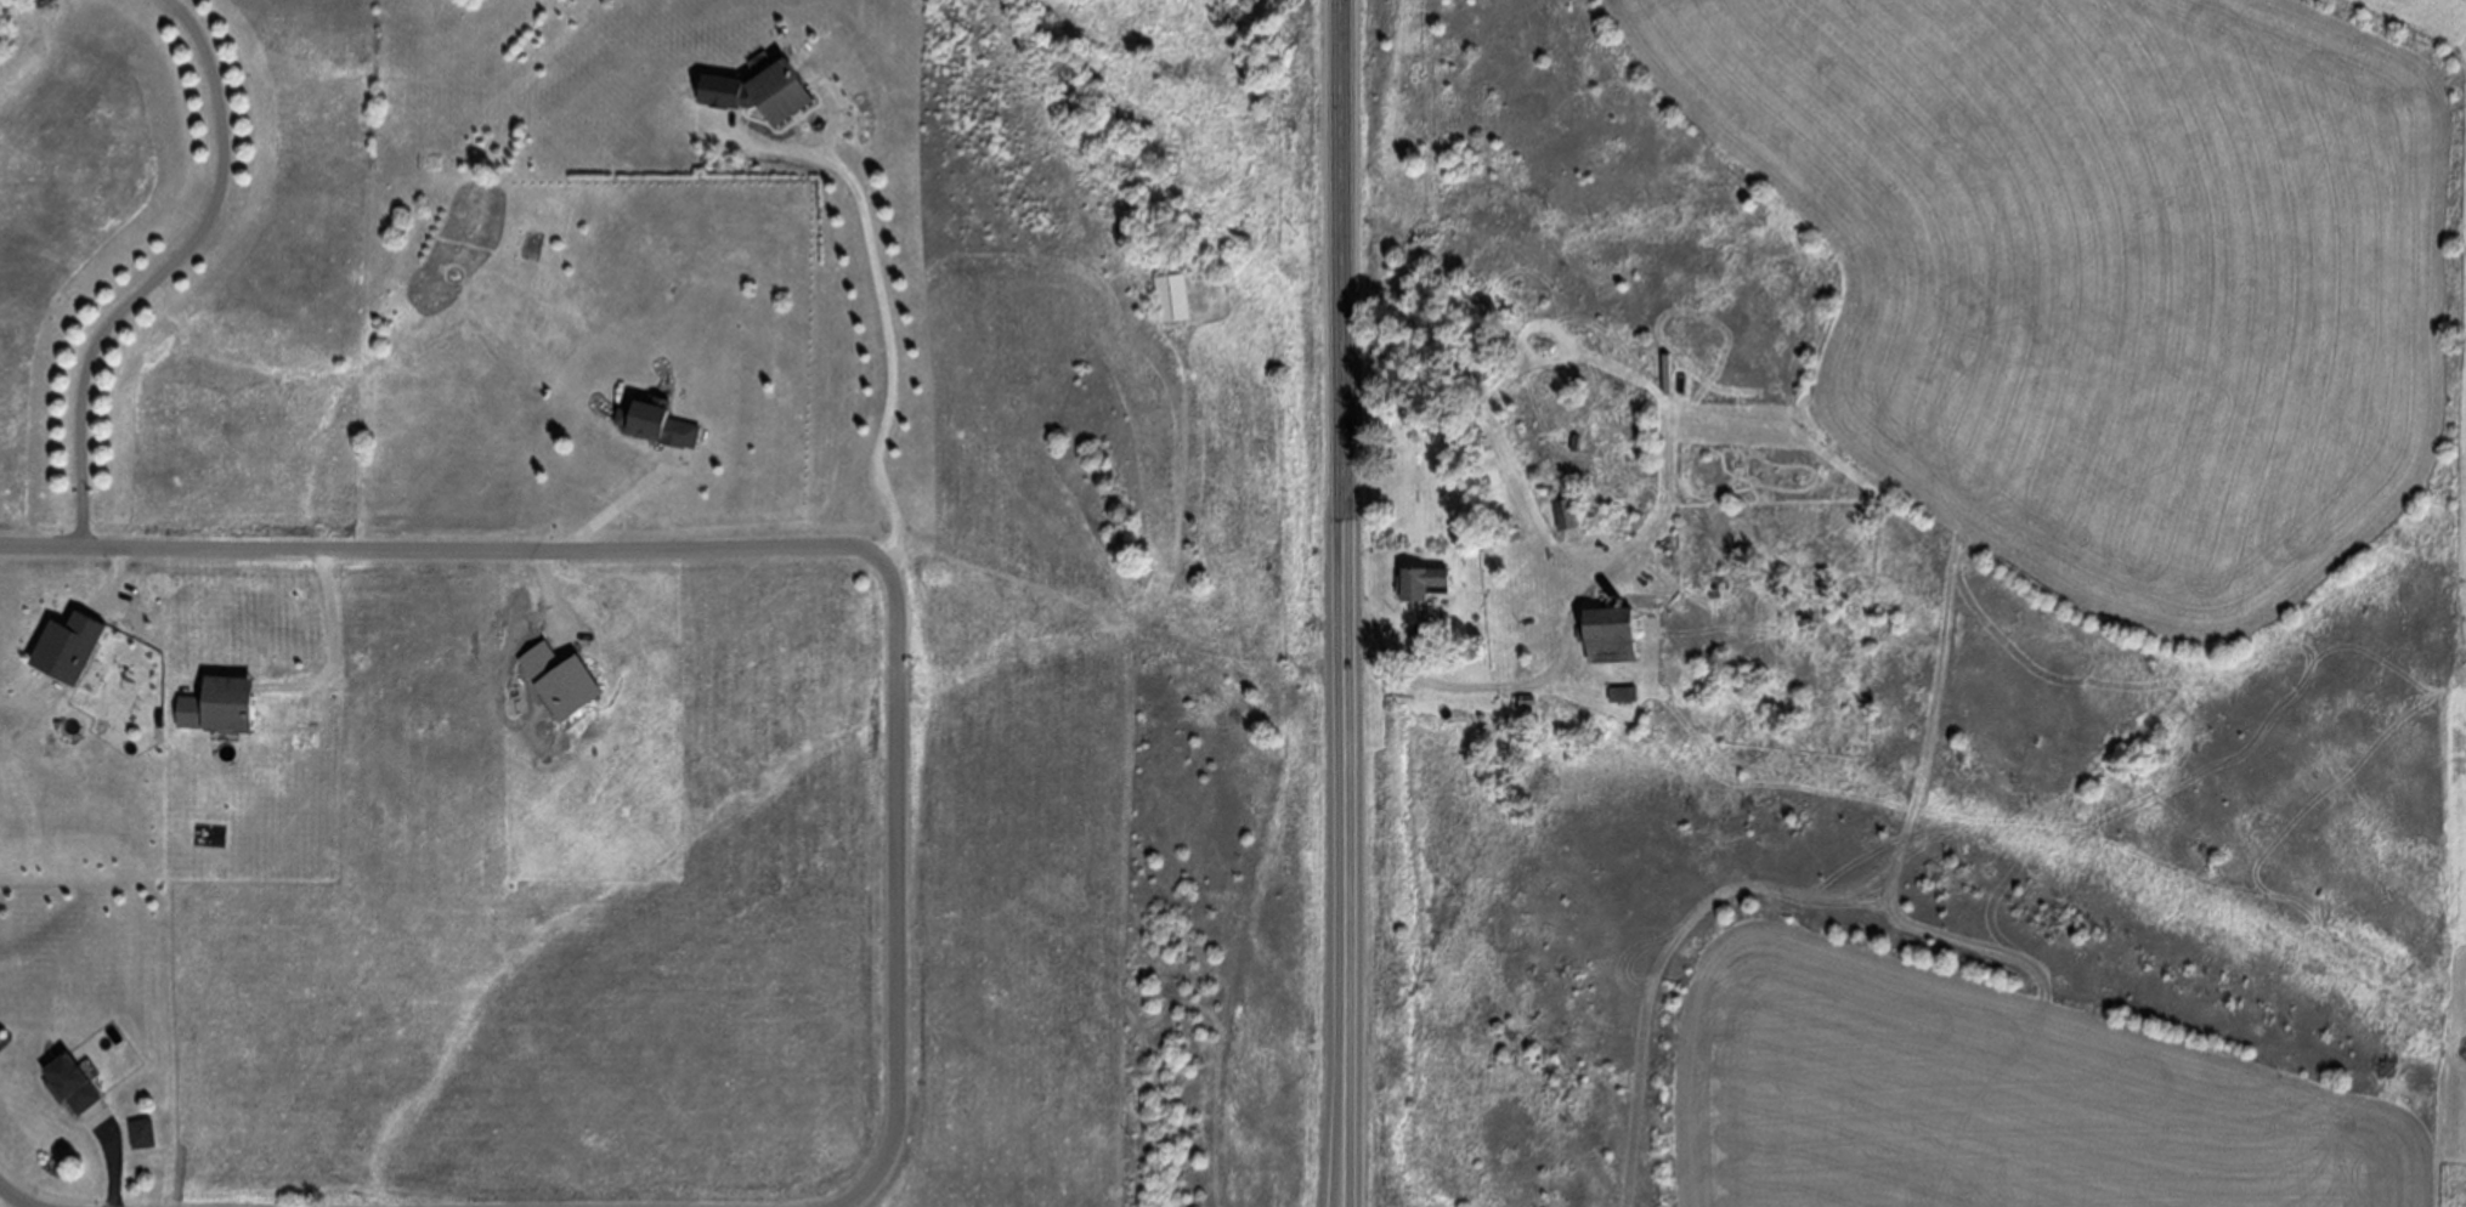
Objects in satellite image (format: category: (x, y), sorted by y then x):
building: (760, 93)
road: (163, 271)
road: (882, 295)
building: (1171, 297)
building: (657, 424)
road: (622, 503)
building: (1567, 514)
road: (1239, 531)
road: (753, 545)
building: (1421, 584)
road: (1347, 602)
road: (561, 616)
building: (1612, 635)
road: (335, 645)
building: (62, 656)
building: (561, 681)
road: (1504, 691)
road: (22, 698)
building: (227, 704)
building: (69, 1082)
building: (142, 1132)
road: (117, 1152)
road: (860, 1191)
road: (19, 1196)

